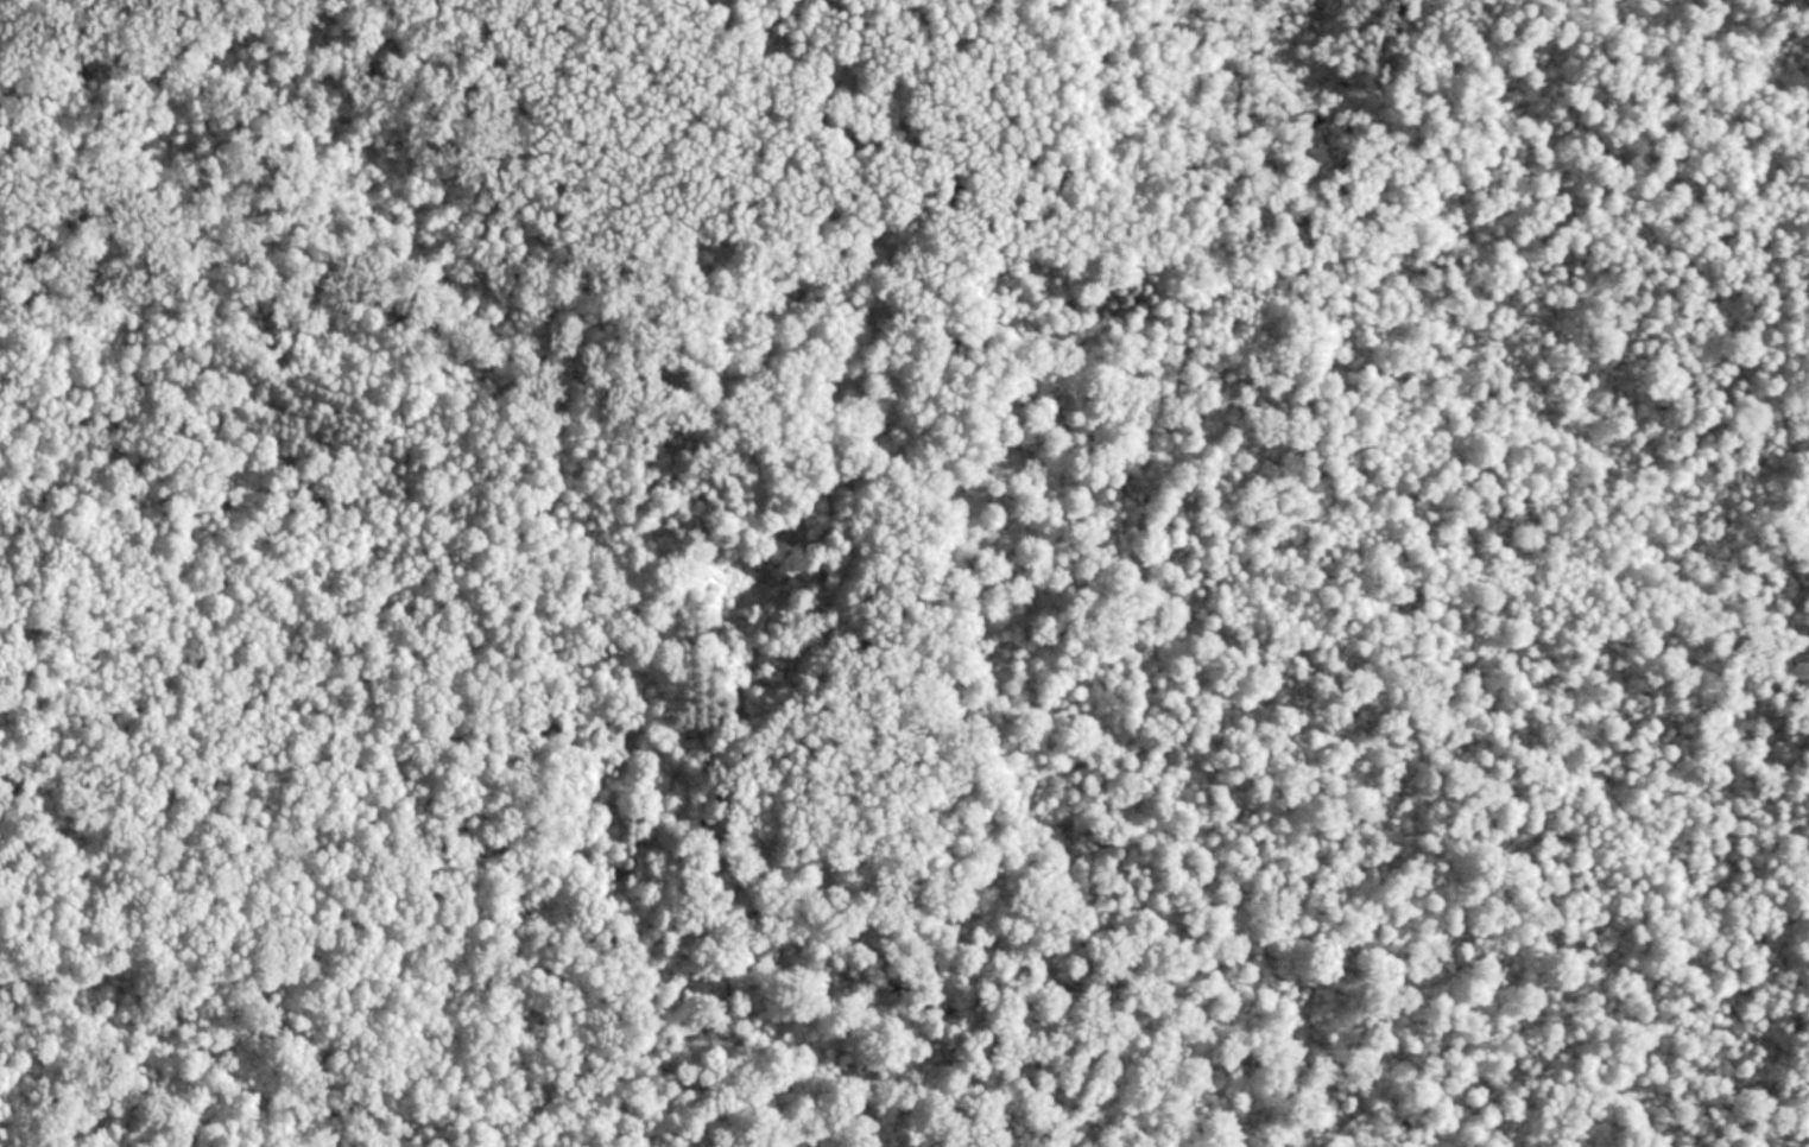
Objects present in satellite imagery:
park: (904, 573)

